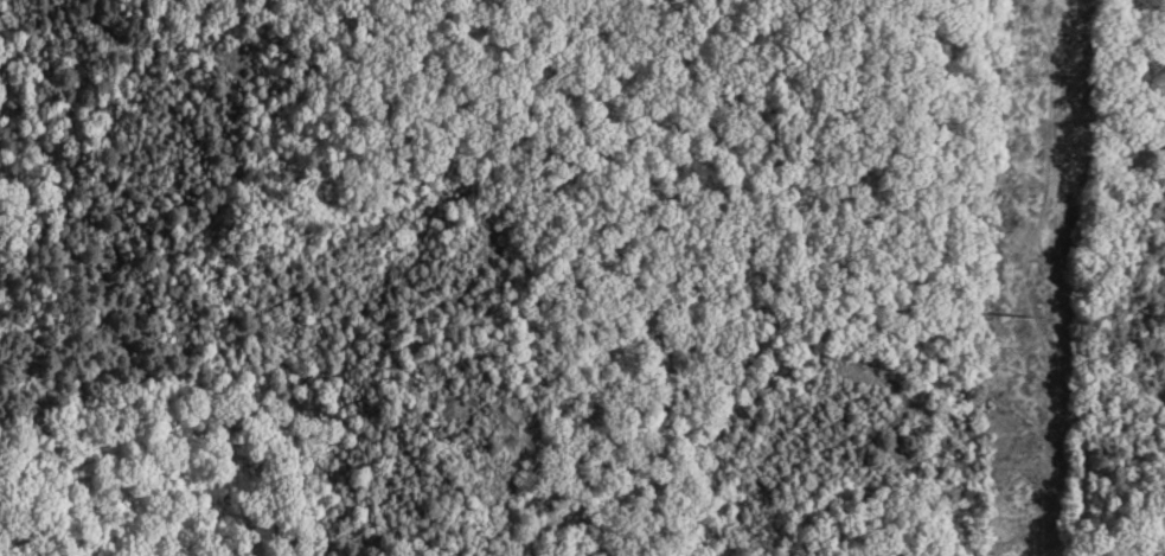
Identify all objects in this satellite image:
power tower: (1026, 317)

